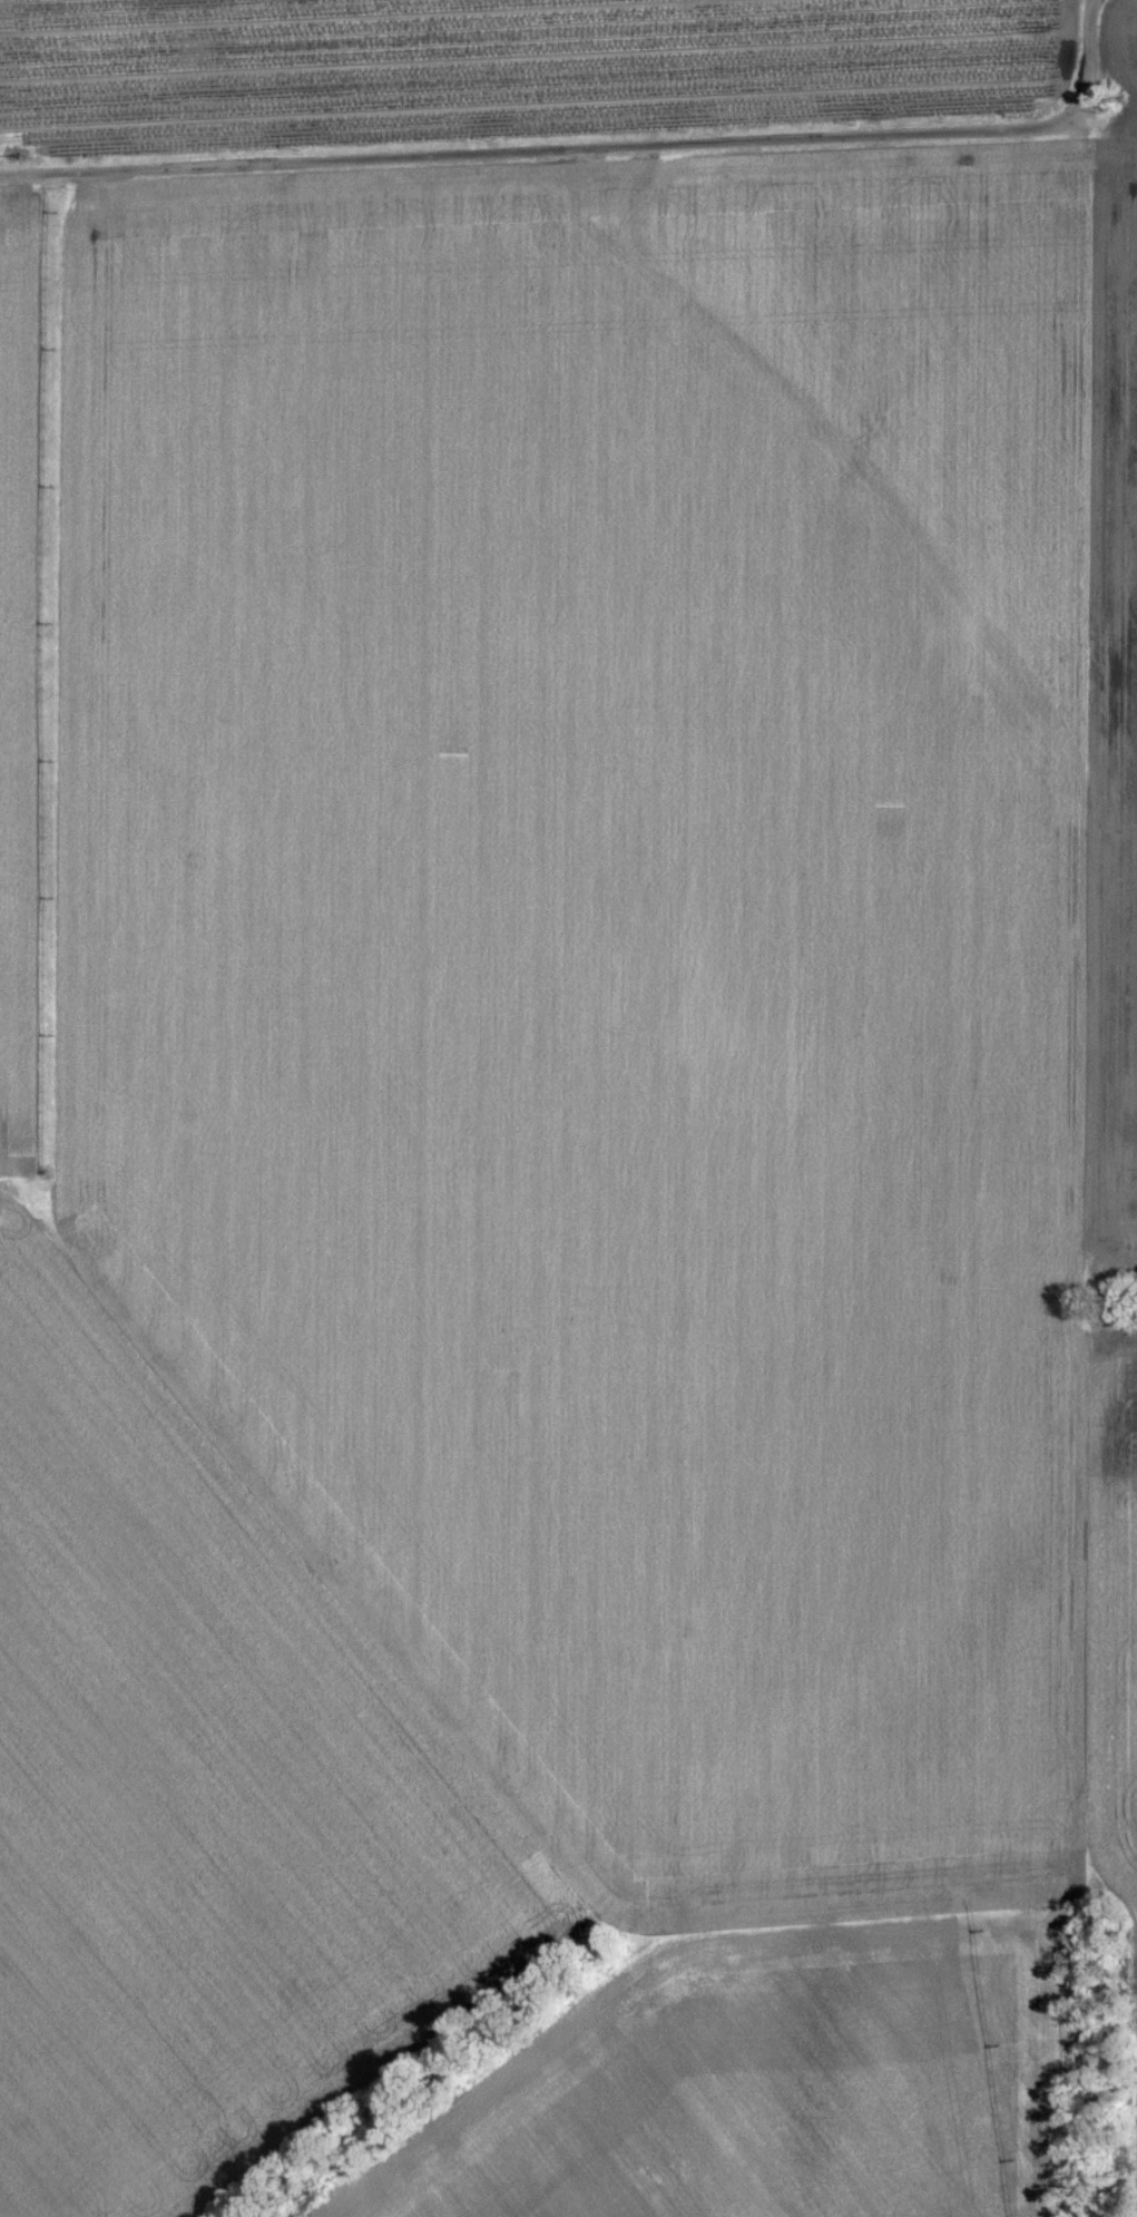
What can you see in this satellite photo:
road: (606, 108)

